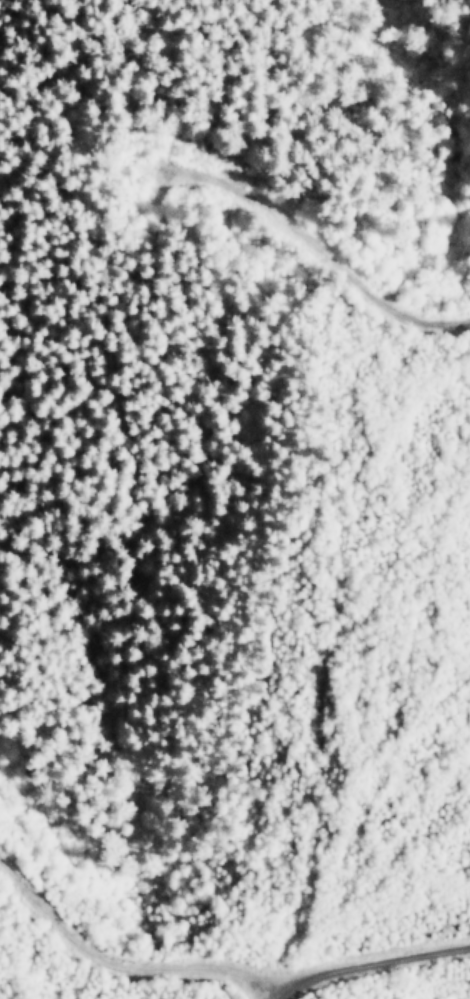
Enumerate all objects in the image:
park: (451, 0)
road: (373, 965)

